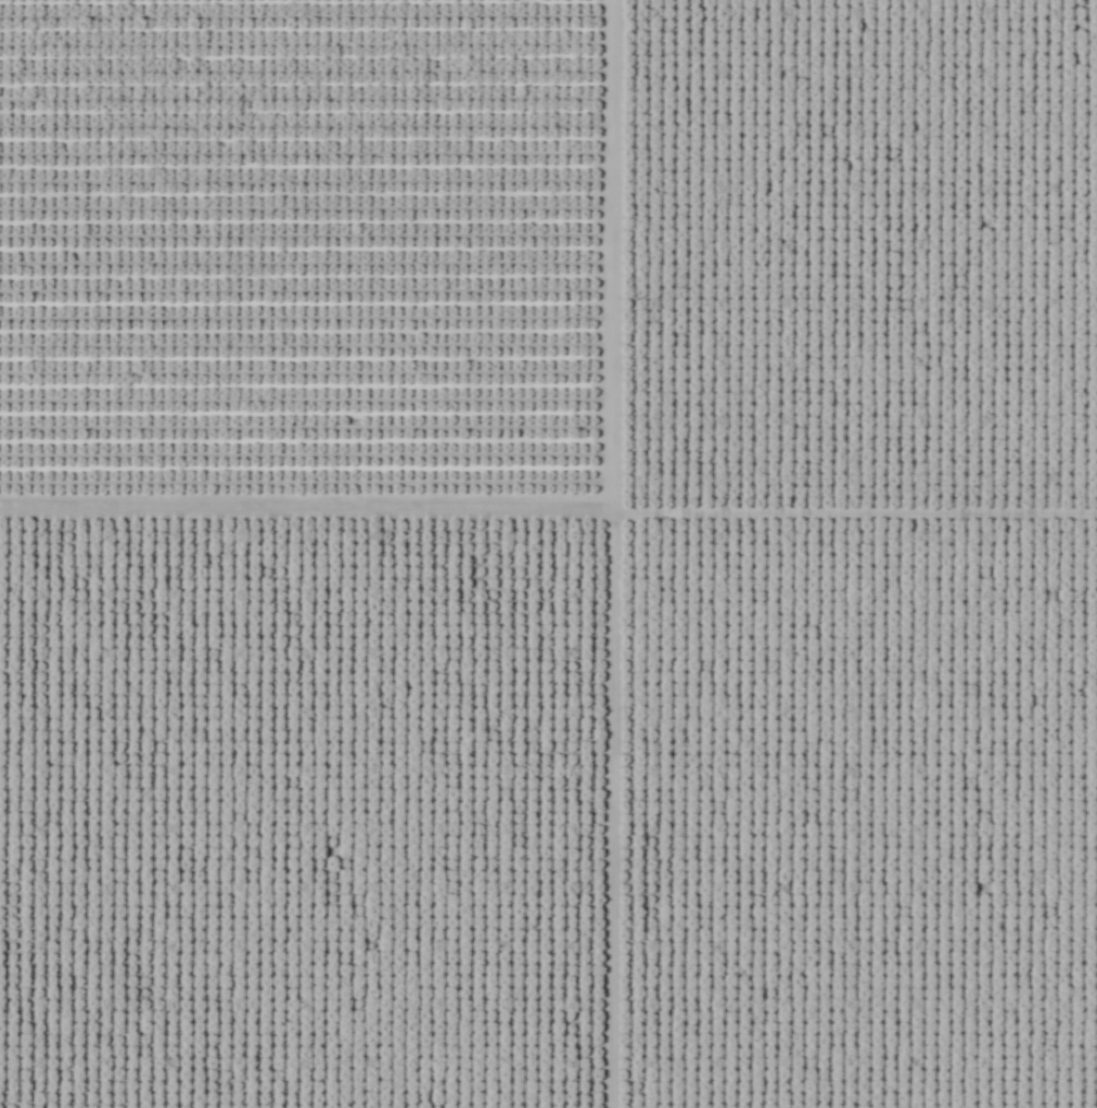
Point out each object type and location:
road: (548, 506)
road: (602, 553)

